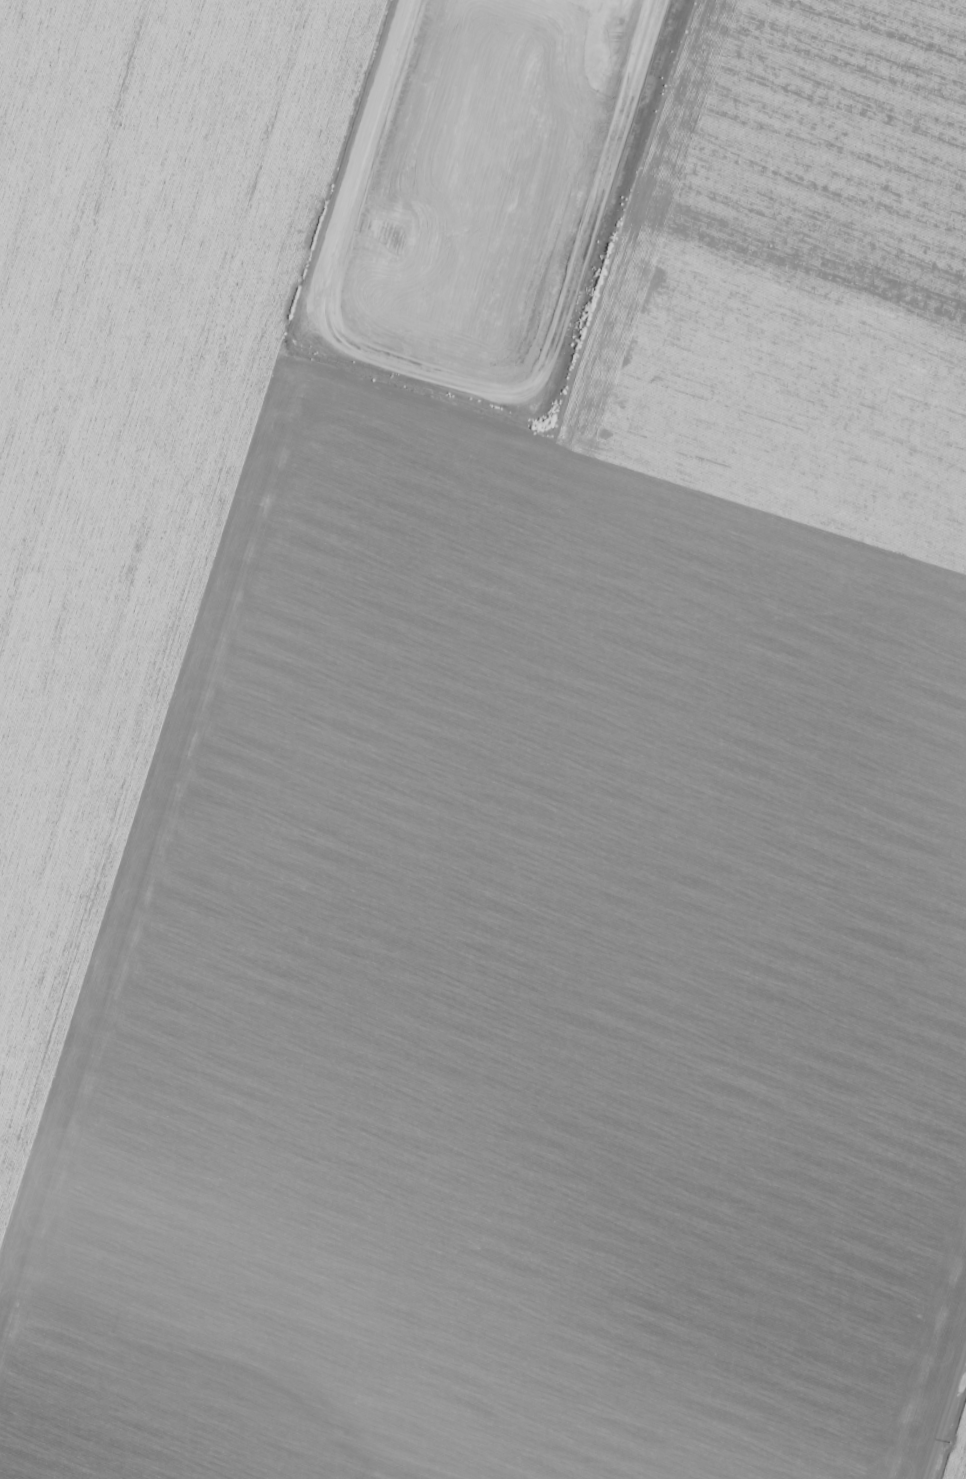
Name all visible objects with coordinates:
road: (964, 1474)

